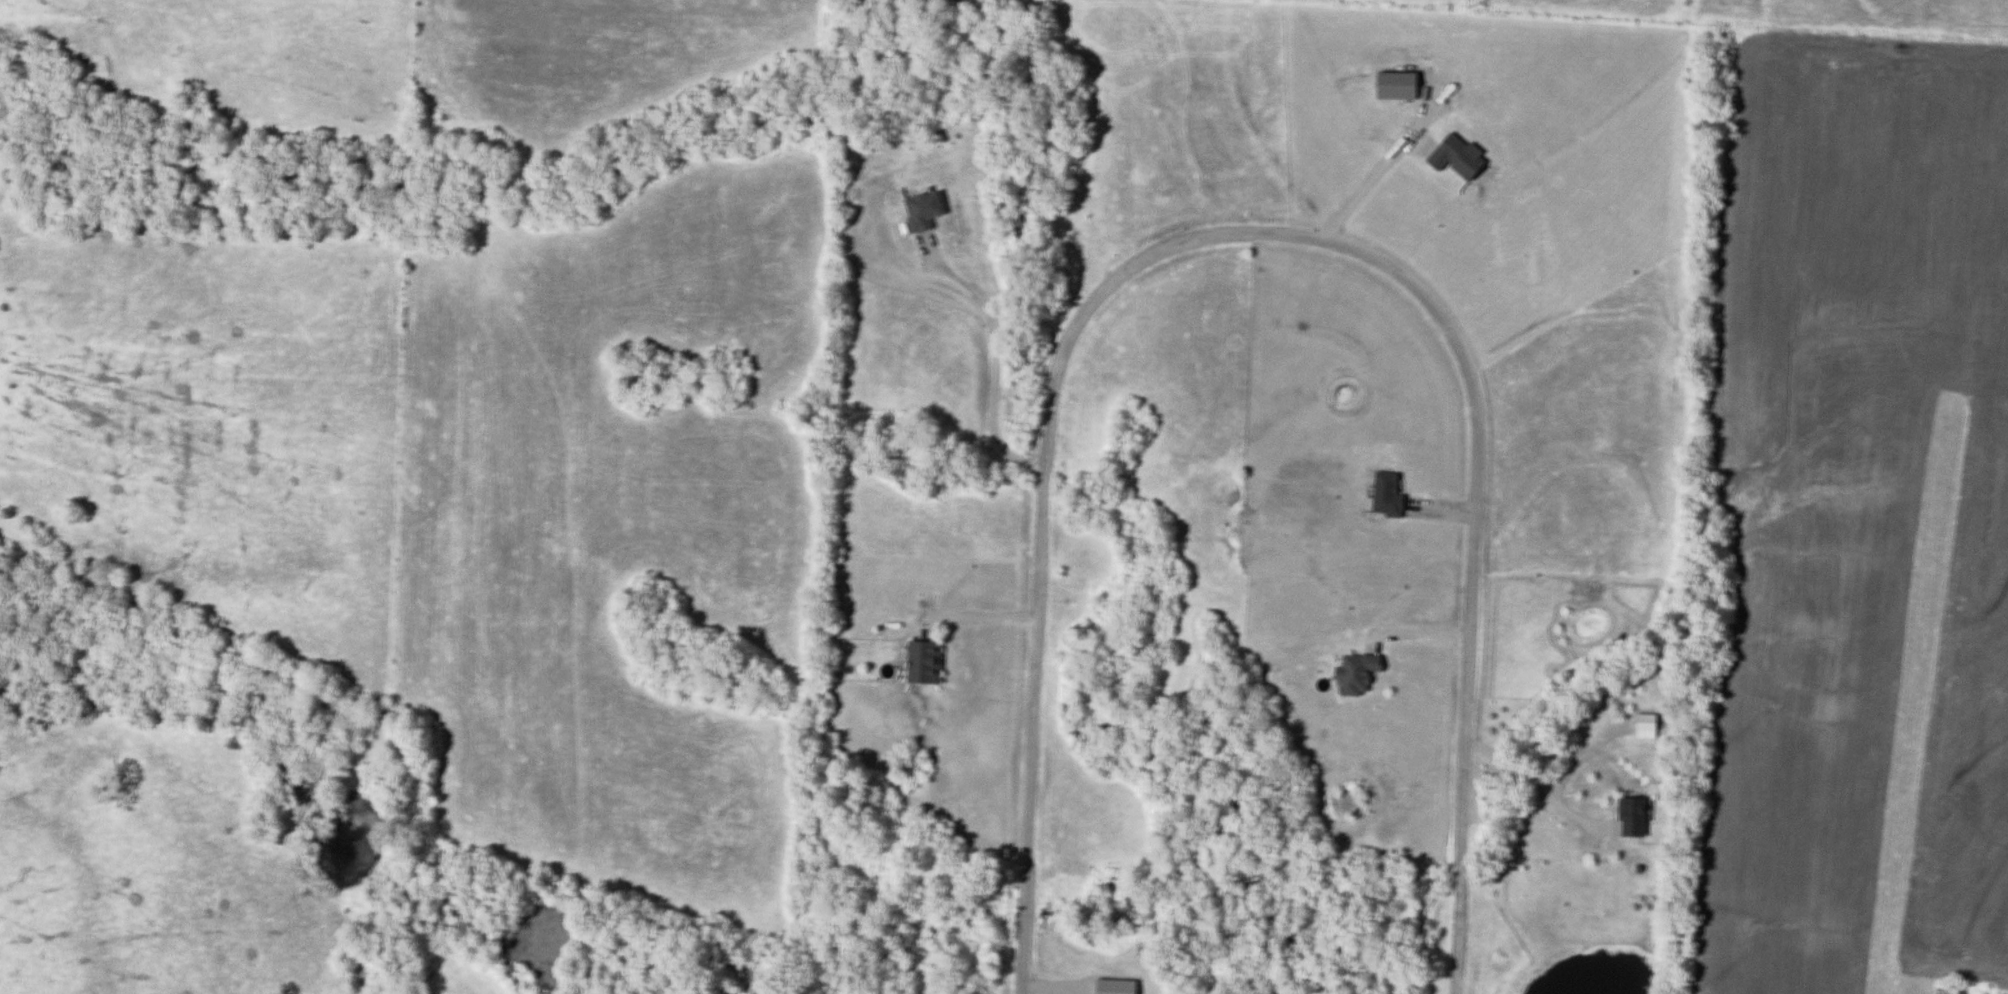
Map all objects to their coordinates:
road: (1381, 168)
building: (925, 212)
road: (1261, 234)
road: (997, 380)
building: (1390, 497)
crop: (1853, 511)
road: (985, 617)
road: (1419, 632)
building: (926, 665)
building: (1359, 676)
road: (1537, 792)
building: (1635, 819)
building: (1118, 988)

